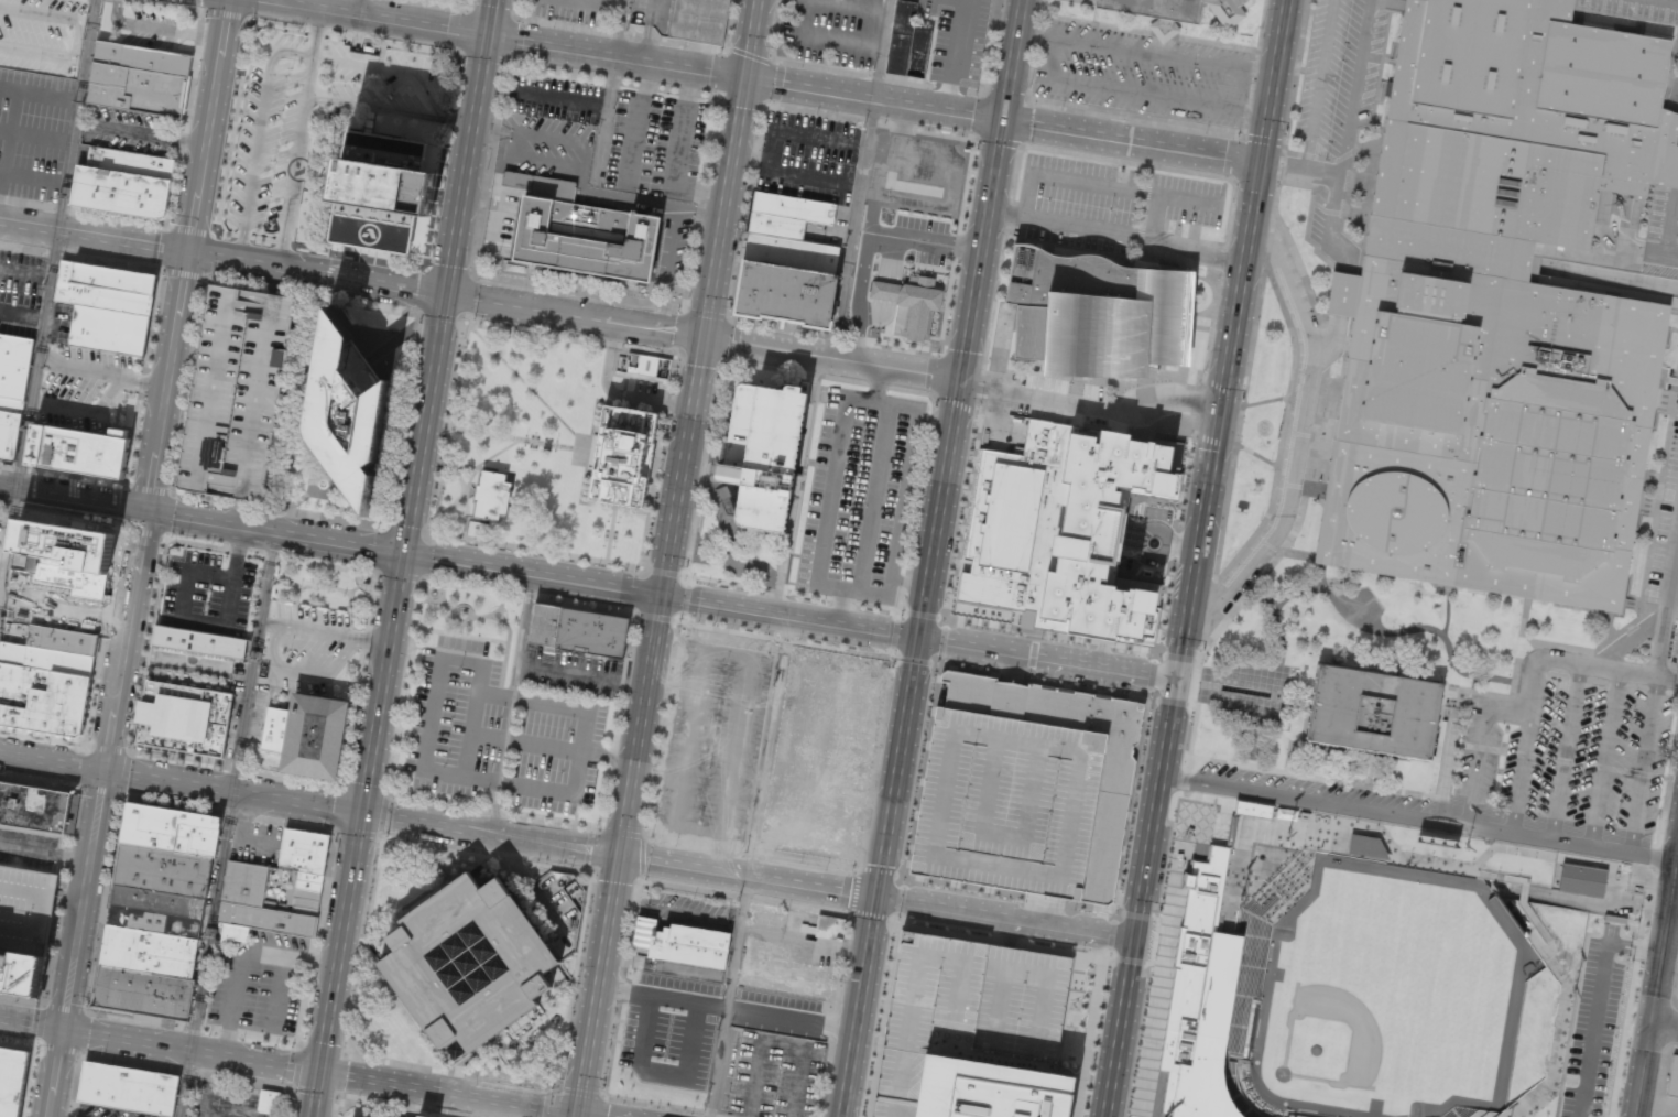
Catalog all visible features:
road: (1674, 0)
parking lot: (1637, 8)
parking lot: (576, 10)
building: (1550, 10)
building: (1177, 12)
building: (699, 20)
traffic signals: (490, 37)
parking lot: (956, 39)
building: (906, 42)
parking lot: (1677, 54)
road: (632, 61)
road: (1010, 61)
parking lot: (1142, 74)
parking lot: (1339, 76)
building: (139, 79)
traffic signals: (751, 80)
road: (1271, 80)
road: (1318, 85)
parking lot: (310, 119)
traffic signals: (1001, 121)
parking lot: (33, 133)
road: (1345, 140)
road: (1130, 142)
parking lot: (613, 152)
road: (1282, 155)
parking lot: (808, 156)
traffic signals: (1258, 163)
road: (1298, 170)
building: (1672, 170)
road: (1677, 181)
building: (123, 184)
building: (377, 191)
parking lot: (1115, 192)
building: (793, 206)
road: (1670, 221)
building: (776, 225)
parking lot: (1677, 231)
building: (586, 237)
road: (92, 240)
road: (1267, 241)
road: (1627, 249)
road: (1298, 265)
road: (1609, 275)
road: (448, 276)
building: (787, 280)
road: (1602, 289)
parking lot: (20, 290)
road: (445, 292)
traffic signals: (446, 293)
building: (1341, 294)
road: (1341, 294)
road: (711, 299)
building: (106, 304)
building: (911, 305)
building: (1497, 312)
building: (1096, 313)
parking lot: (61, 321)
traffic signals: (705, 336)
road: (1332, 339)
road: (1323, 346)
road: (488, 350)
road: (832, 357)
building: (13, 364)
building: (643, 366)
road: (1668, 366)
road: (960, 380)
road: (876, 383)
traffic signals: (960, 386)
parking lot: (84, 387)
building: (237, 392)
parking garage: (237, 392)
road: (617, 394)
road: (622, 395)
road: (1264, 401)
road: (543, 403)
road: (882, 403)
building: (348, 409)
road: (1217, 423)
road: (1238, 424)
building: (9, 425)
road: (1285, 431)
road: (1282, 432)
road: (1298, 433)
road: (1299, 435)
road: (1311, 436)
road: (517, 438)
park: (529, 449)
building: (78, 452)
building: (762, 452)
road: (497, 453)
road: (1256, 455)
building: (624, 457)
road: (458, 464)
road: (487, 468)
road: (584, 471)
road: (459, 476)
road: (831, 492)
parking lot: (860, 494)
building: (492, 495)
road: (874, 499)
road: (465, 500)
road: (72, 502)
road: (904, 503)
road: (451, 505)
traffic signals: (143, 514)
road: (454, 514)
building: (1063, 528)
road: (610, 533)
road: (272, 534)
parking lot: (1666, 538)
road: (238, 543)
building: (63, 544)
road: (196, 544)
road: (237, 550)
road: (254, 553)
traffic signals: (403, 555)
road: (270, 556)
road: (137, 557)
road: (636, 562)
road: (324, 565)
road: (1321, 573)
road: (396, 576)
road: (533, 577)
road: (291, 582)
road: (359, 584)
road: (1322, 585)
road: (336, 587)
road: (364, 587)
road: (440, 587)
park: (324, 588)
parking lot: (211, 590)
road: (852, 592)
road: (437, 595)
parking lot: (54, 596)
road: (427, 596)
road: (1262, 597)
traffic signals: (665, 599)
road: (369, 601)
road: (1665, 603)
road: (447, 604)
road: (1638, 604)
road: (842, 609)
road: (1447, 610)
road: (1207, 611)
road: (469, 612)
road: (483, 615)
road: (189, 617)
park: (475, 619)
road: (794, 619)
road: (1523, 619)
road: (508, 627)
road: (461, 628)
building: (578, 629)
road: (1610, 630)
road: (363, 638)
traffic signals: (923, 640)
building: (198, 641)
road: (1628, 641)
road: (372, 642)
parking lot: (308, 646)
road: (1201, 646)
park: (1355, 647)
road: (728, 651)
road: (272, 654)
road: (1048, 662)
road: (1579, 662)
parking lot: (571, 673)
building: (46, 680)
road: (675, 683)
road: (1472, 683)
traffic signals: (1175, 684)
fountain: (1243, 692)
parking lot: (190, 703)
building: (1374, 711)
road: (349, 715)
building: (183, 718)
road: (643, 728)
parking lot: (499, 733)
building: (307, 734)
road: (689, 738)
road: (523, 744)
parking lot: (712, 744)
road: (736, 746)
road: (1480, 747)
road: (1329, 749)
road: (1566, 751)
parking lot: (1566, 753)
park: (820, 755)
road: (1287, 757)
road: (608, 758)
road: (1603, 758)
road: (52, 761)
road: (1448, 761)
road: (1643, 764)
road: (1365, 767)
road: (1519, 773)
road: (459, 776)
road: (658, 777)
building: (1026, 787)
parking garage: (1026, 787)
road: (1398, 791)
parking lot: (1305, 794)
building: (34, 806)
road: (493, 809)
building: (1252, 810)
road: (1155, 812)
road: (362, 813)
road: (362, 814)
traffic signals: (362, 814)
road: (1418, 817)
building: (171, 828)
road: (715, 836)
parking lot: (257, 843)
building: (1365, 846)
parking lot: (31, 847)
traffic signals: (621, 857)
building: (163, 869)
road: (883, 878)
building: (1581, 880)
building: (243, 887)
building: (564, 896)
road: (879, 897)
traffic signals: (881, 898)
building: (25, 908)
parking garage: (25, 908)
parking lot: (685, 908)
building: (155, 910)
building: (826, 926)
road: (1663, 933)
traffic signals: (1136, 940)
building: (680, 944)
building: (150, 951)
building: (466, 958)
building: (21, 972)
stadium: (1383, 972)
parking lot: (259, 983)
road: (599, 985)
building: (144, 991)
building: (1220, 991)
park: (1388, 994)
building: (783, 1000)
building: (626, 1019)
road: (32, 1024)
road: (1121, 1028)
road: (1663, 1028)
building: (1251, 1029)
traffic signals: (64, 1030)
building: (976, 1034)
road: (192, 1050)
building: (676, 1060)
traffic signals: (319, 1071)
road: (1641, 1071)
building: (1674, 1076)
building: (11, 1081)
building: (128, 1089)
road: (448, 1092)
road: (315, 1094)
building: (269, 1102)
building: (1467, 1113)
traffic signals: (577, 1114)
building: (1303, 1114)
road: (586, 1115)
building: (421, 1116)

